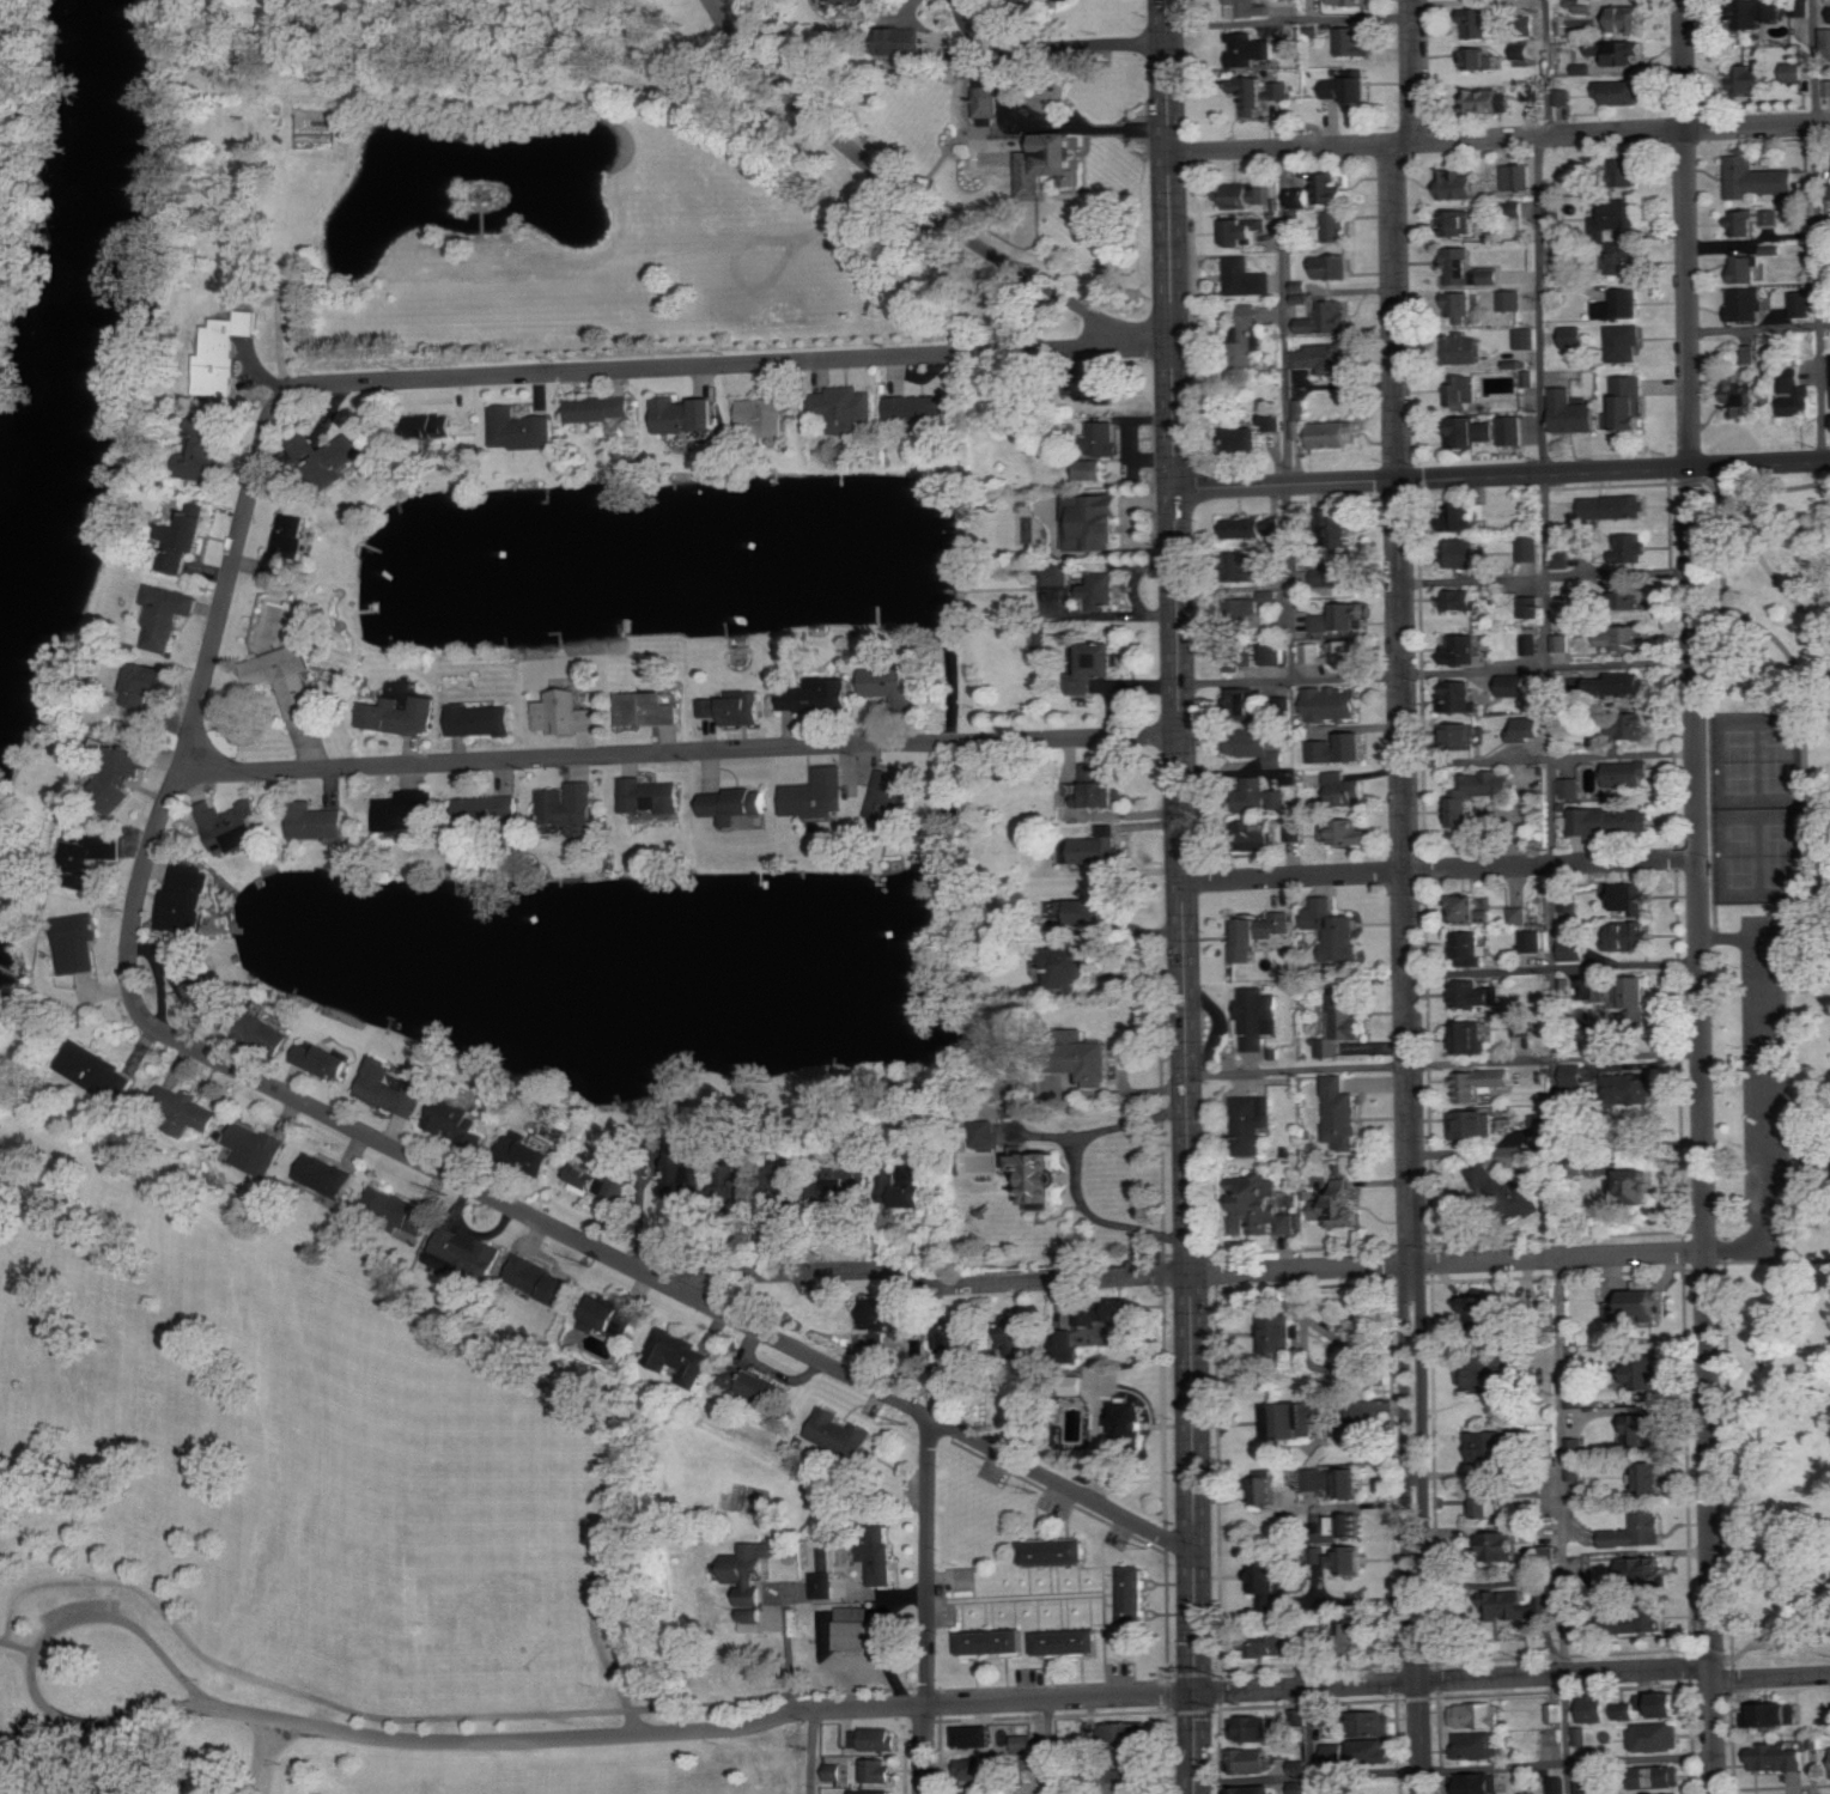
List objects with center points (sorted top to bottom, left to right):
building: (844, 0)
building: (1350, 2)
building: (1582, 6)
building: (1801, 7)
building: (1248, 8)
building: (1764, 10)
building: (1627, 19)
road: (1290, 22)
building: (1479, 24)
building: (1826, 38)
building: (1354, 41)
building: (904, 42)
road: (1048, 44)
building: (1250, 49)
building: (1524, 50)
building: (1621, 54)
building: (1481, 59)
road: (1548, 68)
building: (1585, 69)
building: (1794, 72)
building: (1753, 78)
building: (1336, 89)
building: (1828, 89)
building: (1281, 90)
building: (1530, 91)
building: (1361, 92)
building: (1621, 92)
building: (1252, 93)
building: (989, 97)
building: (1490, 102)
road: (1052, 126)
road: (1498, 139)
building: (1050, 163)
road: (1168, 170)
building: (1588, 172)
building: (1627, 172)
building: (1758, 178)
building: (1459, 186)
road: (901, 188)
building: (1331, 190)
building: (1248, 195)
building: (1305, 199)
building: (1555, 208)
building: (1622, 214)
building: (1752, 221)
building: (1457, 224)
building: (1337, 226)
road: (1818, 230)
building: (1241, 232)
road: (1686, 233)
building: (1773, 250)
building: (1624, 256)
building: (1567, 260)
building: (1332, 267)
building: (1459, 267)
building: (1744, 269)
building: (1491, 276)
building: (1247, 278)
building: (1512, 300)
building: (1746, 304)
building: (1802, 304)
river: (90, 305)
building: (1621, 305)
building: (1459, 308)
road: (1283, 316)
building: (1327, 320)
road: (1758, 327)
building: (1245, 336)
building: (1574, 336)
building: (1526, 339)
road: (1148, 341)
building: (1623, 343)
building: (1467, 349)
building: (226, 352)
building: (1745, 354)
building: (1324, 358)
road: (515, 375)
building: (1527, 379)
building: (1099, 387)
building: (1463, 390)
building: (1795, 394)
building: (1741, 401)
building: (1628, 405)
building: (600, 408)
building: (845, 408)
building: (919, 408)
building: (1302, 409)
building: (1571, 413)
building: (686, 414)
building: (764, 414)
building: (424, 424)
building: (521, 428)
building: (1512, 431)
building: (1471, 433)
building: (1256, 434)
building: (1332, 434)
building: (1105, 438)
building: (208, 452)
building: (327, 452)
building: (1092, 469)
road: (1502, 475)
road: (1708, 480)
road: (1775, 489)
building: (1615, 507)
building: (1758, 513)
building: (1469, 516)
building: (1102, 519)
building: (1252, 527)
building: (1342, 531)
building: (183, 541)
building: (286, 545)
building: (1528, 548)
building: (1631, 549)
building: (1463, 554)
building: (1562, 560)
building: (1242, 566)
road: (1768, 570)
building: (1057, 574)
road: (1546, 574)
building: (1340, 576)
building: (1101, 590)
building: (1270, 596)
building: (1634, 597)
building: (1463, 601)
building: (1531, 607)
building: (1245, 613)
building: (165, 615)
building: (1351, 616)
building: (1324, 624)
building: (1629, 639)
building: (1561, 643)
building: (1531, 647)
building: (1463, 651)
building: (1333, 652)
building: (1272, 655)
building: (1239, 656)
building: (1096, 667)
road: (1396, 674)
building: (284, 677)
building: (153, 680)
building: (1629, 685)
building: (892, 686)
building: (1515, 686)
building: (819, 697)
building: (1459, 698)
building: (1245, 703)
building: (1333, 704)
building: (736, 709)
building: (646, 710)
building: (565, 713)
building: (401, 716)
building: (479, 720)
building: (1635, 726)
building: (1527, 729)
building: (1459, 734)
building: (1084, 736)
building: (1259, 747)
road: (687, 750)
building: (1342, 750)
road: (1550, 756)
building: (1628, 774)
building: (1099, 787)
building: (1571, 789)
building: (1343, 790)
building: (1478, 792)
building: (817, 795)
building: (892, 795)
building: (650, 796)
building: (1261, 796)
road: (1806, 801)
building: (737, 804)
park: (1759, 807)
building: (570, 808)
building: (405, 809)
building: (487, 810)
building: (318, 821)
building: (1612, 822)
building: (232, 827)
building: (1293, 832)
building: (1348, 833)
building: (1258, 834)
building: (1096, 851)
building: (93, 856)
road: (1440, 869)
road: (1713, 877)
road: (1406, 892)
building: (186, 898)
building: (1633, 899)
building: (1569, 904)
building: (1469, 911)
building: (1092, 914)
building: (1519, 916)
building: (1333, 930)
building: (1258, 935)
road: (1731, 936)
building: (1630, 937)
building: (80, 941)
building: (1532, 942)
building: (1470, 948)
building: (1573, 950)
road: (1551, 966)
road: (1554, 966)
building: (1075, 969)
building: (195, 987)
building: (1471, 993)
building: (1625, 997)
building: (1257, 1015)
building: (1342, 1020)
building: (267, 1033)
building: (1470, 1036)
park: (1765, 1052)
building: (1082, 1058)
building: (323, 1060)
road: (1443, 1062)
road: (1186, 1066)
building: (95, 1070)
building: (1574, 1076)
building: (1481, 1083)
building: (390, 1088)
building: (1630, 1088)
road: (1764, 1090)
building: (1340, 1112)
building: (191, 1113)
building: (455, 1120)
building: (1251, 1123)
building: (1471, 1124)
building: (1542, 1129)
road: (1702, 1131)
building: (983, 1132)
road: (1556, 1145)
building: (256, 1147)
building: (528, 1153)
building: (1044, 1173)
building: (324, 1174)
building: (688, 1174)
road: (1075, 1174)
building: (794, 1175)
building: (1485, 1175)
building: (597, 1180)
building: (1633, 1181)
building: (850, 1184)
building: (729, 1185)
building: (907, 1185)
building: (1339, 1205)
building: (1260, 1206)
building: (400, 1209)
road: (541, 1221)
building: (462, 1247)
road: (1737, 1247)
road: (1768, 1260)
road: (1182, 1275)
building: (546, 1282)
building: (1637, 1303)
building: (1494, 1310)
building: (1108, 1313)
building: (608, 1314)
building: (887, 1314)
building: (954, 1332)
building: (1283, 1333)
building: (1021, 1337)
building: (685, 1360)
building: (947, 1370)
building: (1495, 1370)
building: (1647, 1372)
building: (754, 1383)
building: (1575, 1398)
building: (1290, 1419)
building: (1131, 1421)
building: (1646, 1429)
building: (840, 1433)
building: (1490, 1447)
building: (1576, 1447)
road: (1728, 1458)
building: (1575, 1473)
building: (1650, 1478)
building: (1336, 1480)
building: (1271, 1485)
building: (1491, 1501)
building: (1346, 1524)
building: (1639, 1530)
park: (312, 1534)
building: (1501, 1544)
building: (1058, 1550)
building: (878, 1553)
building: (1351, 1558)
building: (750, 1561)
building: (1595, 1565)
building: (1641, 1570)
building: (1270, 1575)
building: (822, 1585)
building: (1576, 1591)
building: (754, 1595)
building: (1137, 1597)
building: (1269, 1601)
building: (1513, 1604)
road: (926, 1606)
building: (752, 1614)
road: (1781, 1617)
building: (1644, 1620)
road: (10, 1622)
building: (853, 1628)
building: (1351, 1634)
building: (1300, 1635)
road: (1743, 1635)
building: (995, 1641)
building: (1070, 1641)
road: (1789, 1641)
building: (1267, 1643)
road: (784, 1649)
road: (1330, 1666)
road: (31, 1677)
road: (1015, 1701)
building: (1648, 1701)
building: (1672, 1704)
building: (1595, 1709)
building: (1629, 1710)
building: (1556, 1713)
building: (1777, 1714)
building: (1478, 1715)
road: (446, 1716)
building: (1373, 1723)
building: (1254, 1728)
building: (1129, 1734)
building: (979, 1737)
building: (1582, 1737)
building: (1658, 1737)
building: (874, 1739)
road: (1308, 1740)
building: (1026, 1744)
building: (1478, 1745)
road: (1050, 1746)
building: (1372, 1751)
road: (814, 1752)
building: (1336, 1753)
road: (263, 1755)
building: (1777, 1758)
building: (1251, 1760)
building: (1299, 1766)
road: (1454, 1766)
building: (971, 1769)
building: (877, 1770)
building: (1662, 1776)
building: (1124, 1781)
building: (1476, 1783)
building: (1586, 1784)
building: (1558, 1786)
building: (1300, 1787)
building: (1253, 1789)
building: (874, 1792)
building: (974, 1793)

